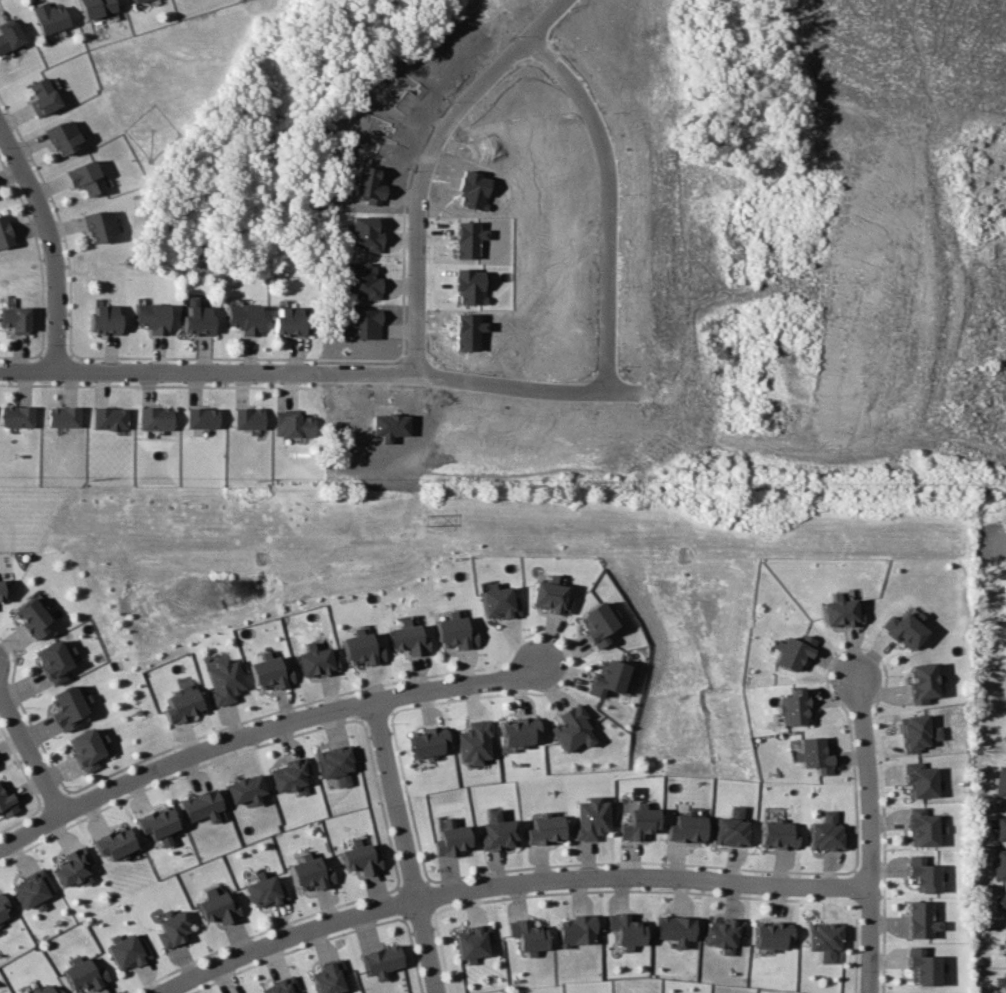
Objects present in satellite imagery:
building: (133, 0)
building: (96, 7)
building: (50, 17)
road: (543, 18)
building: (9, 34)
building: (41, 95)
road: (595, 127)
building: (62, 136)
building: (84, 177)
building: (99, 225)
building: (4, 232)
building: (468, 239)
road: (46, 240)
building: (469, 285)
building: (152, 317)
building: (14, 318)
building: (196, 318)
building: (244, 318)
building: (103, 319)
building: (290, 321)
road: (188, 366)
building: (17, 416)
building: (63, 416)
building: (201, 417)
building: (248, 417)
building: (108, 418)
building: (154, 418)
building: (293, 424)
building: (0, 593)
building: (548, 595)
building: (498, 601)
building: (840, 609)
building: (32, 616)
building: (593, 625)
building: (903, 629)
building: (455, 632)
building: (409, 637)
building: (361, 647)
building: (792, 652)
building: (54, 659)
building: (315, 661)
building: (269, 670)
building: (603, 678)
building: (223, 680)
building: (922, 681)
road: (500, 693)
road: (387, 699)
road: (315, 700)
building: (181, 703)
building: (69, 707)
road: (344, 707)
building: (791, 707)
road: (373, 713)
road: (26, 715)
building: (572, 727)
building: (517, 731)
building: (917, 731)
building: (475, 740)
building: (428, 741)
building: (87, 748)
road: (30, 753)
building: (813, 754)
building: (336, 763)
road: (21, 765)
building: (292, 775)
road: (174, 776)
building: (920, 779)
building: (1001, 782)
building: (247, 789)
road: (57, 799)
building: (7, 800)
road: (75, 805)
building: (203, 805)
road: (48, 817)
building: (591, 818)
road: (20, 820)
building: (159, 823)
building: (638, 823)
building: (922, 826)
building: (545, 828)
building: (685, 828)
building: (730, 828)
building: (1000, 828)
building: (498, 831)
building: (825, 833)
road: (871, 834)
building: (776, 835)
building: (451, 837)
building: (115, 842)
road: (406, 846)
building: (359, 856)
building: (1000, 864)
building: (75, 867)
building: (309, 873)
building: (923, 874)
road: (508, 884)
building: (33, 889)
building: (264, 890)
building: (1001, 904)
building: (2, 907)
building: (218, 907)
building: (920, 919)
building: (173, 929)
building: (676, 929)
building: (577, 930)
building: (626, 930)
building: (724, 934)
building: (772, 934)
building: (528, 935)
building: (824, 939)
building: (473, 941)
building: (381, 961)
building: (923, 966)
building: (84, 973)
building: (329, 977)
building: (1001, 980)
building: (283, 985)
building: (47, 990)

